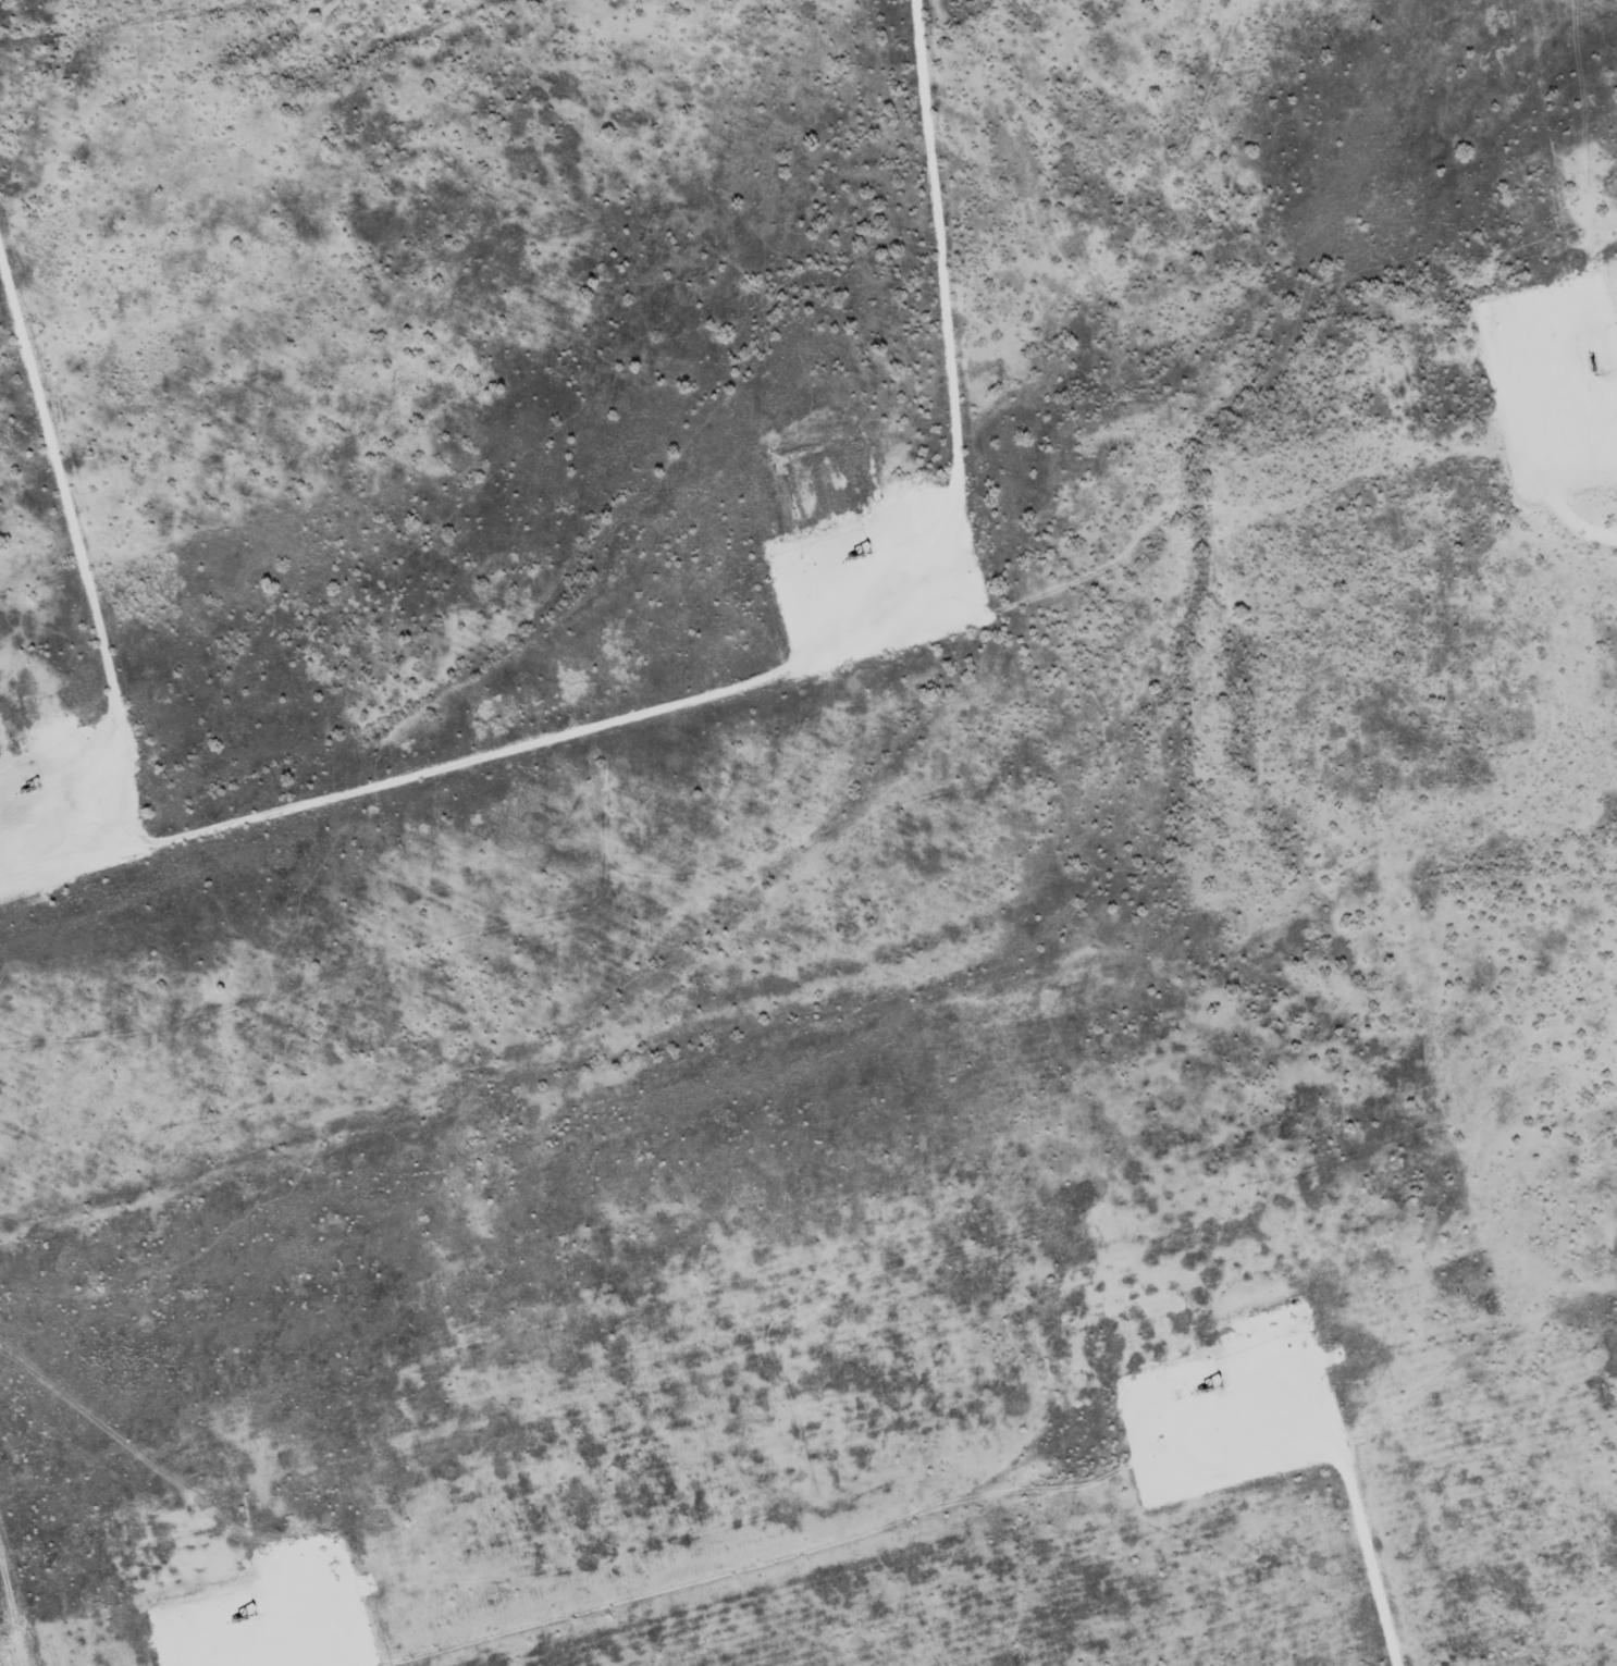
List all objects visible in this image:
road: (964, 1494)
road: (369, 1665)

